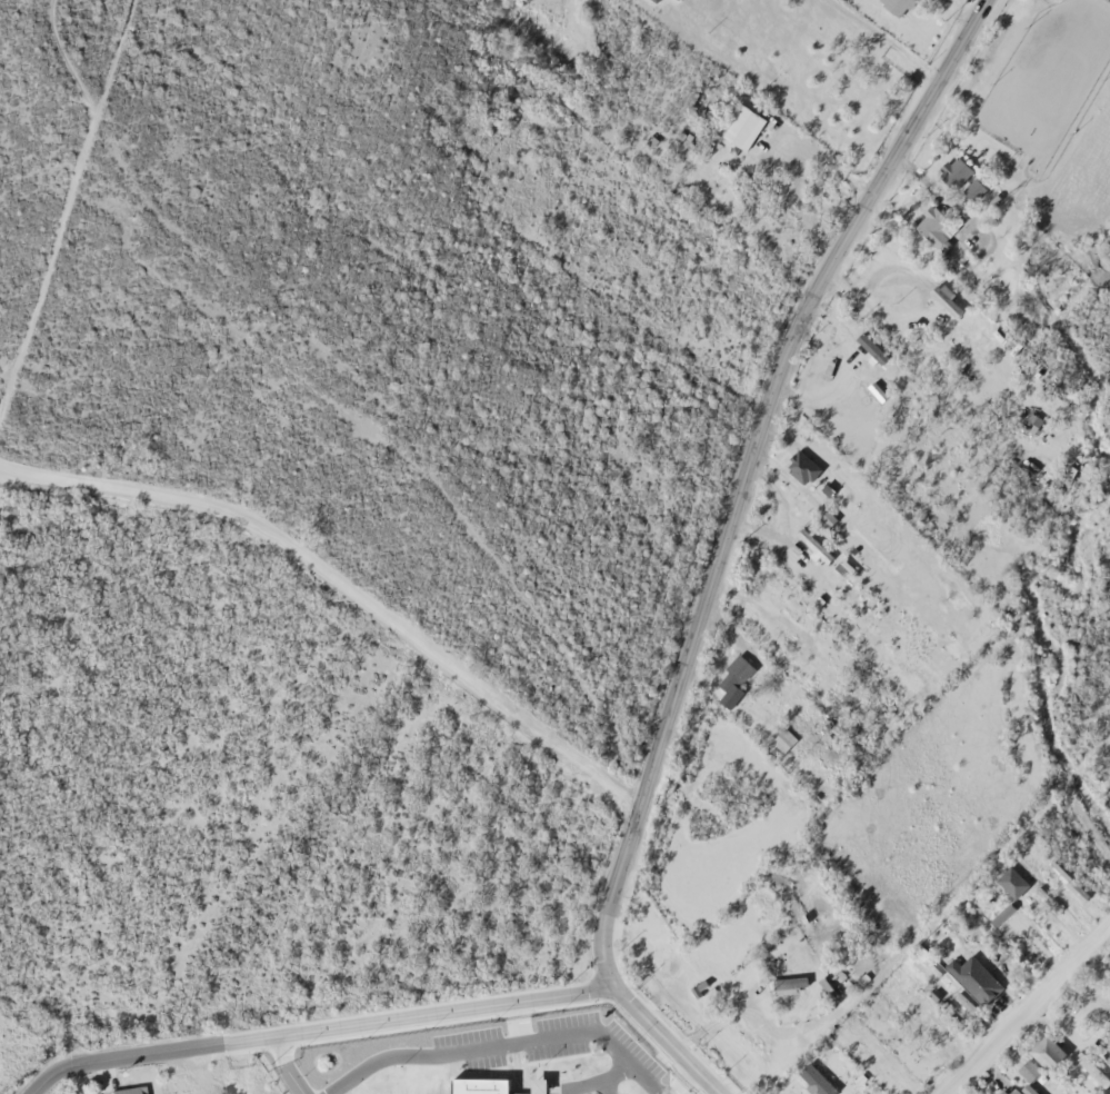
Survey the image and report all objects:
building: (894, 4)
road: (63, 7)
building: (427, 105)
building: (739, 122)
building: (959, 172)
building: (932, 221)
road: (203, 250)
building: (1029, 417)
building: (798, 461)
building: (809, 541)
road: (718, 546)
road: (346, 583)
building: (731, 670)
building: (780, 735)
building: (1109, 766)
building: (1063, 876)
building: (1009, 878)
building: (970, 974)
building: (784, 981)
road: (1022, 1006)
road: (314, 1031)
road: (496, 1046)
building: (1044, 1048)
building: (1026, 1065)
road: (279, 1066)
building: (812, 1076)
road: (678, 1082)
building: (477, 1083)
building: (534, 1084)
building: (126, 1088)
building: (1016, 1088)

